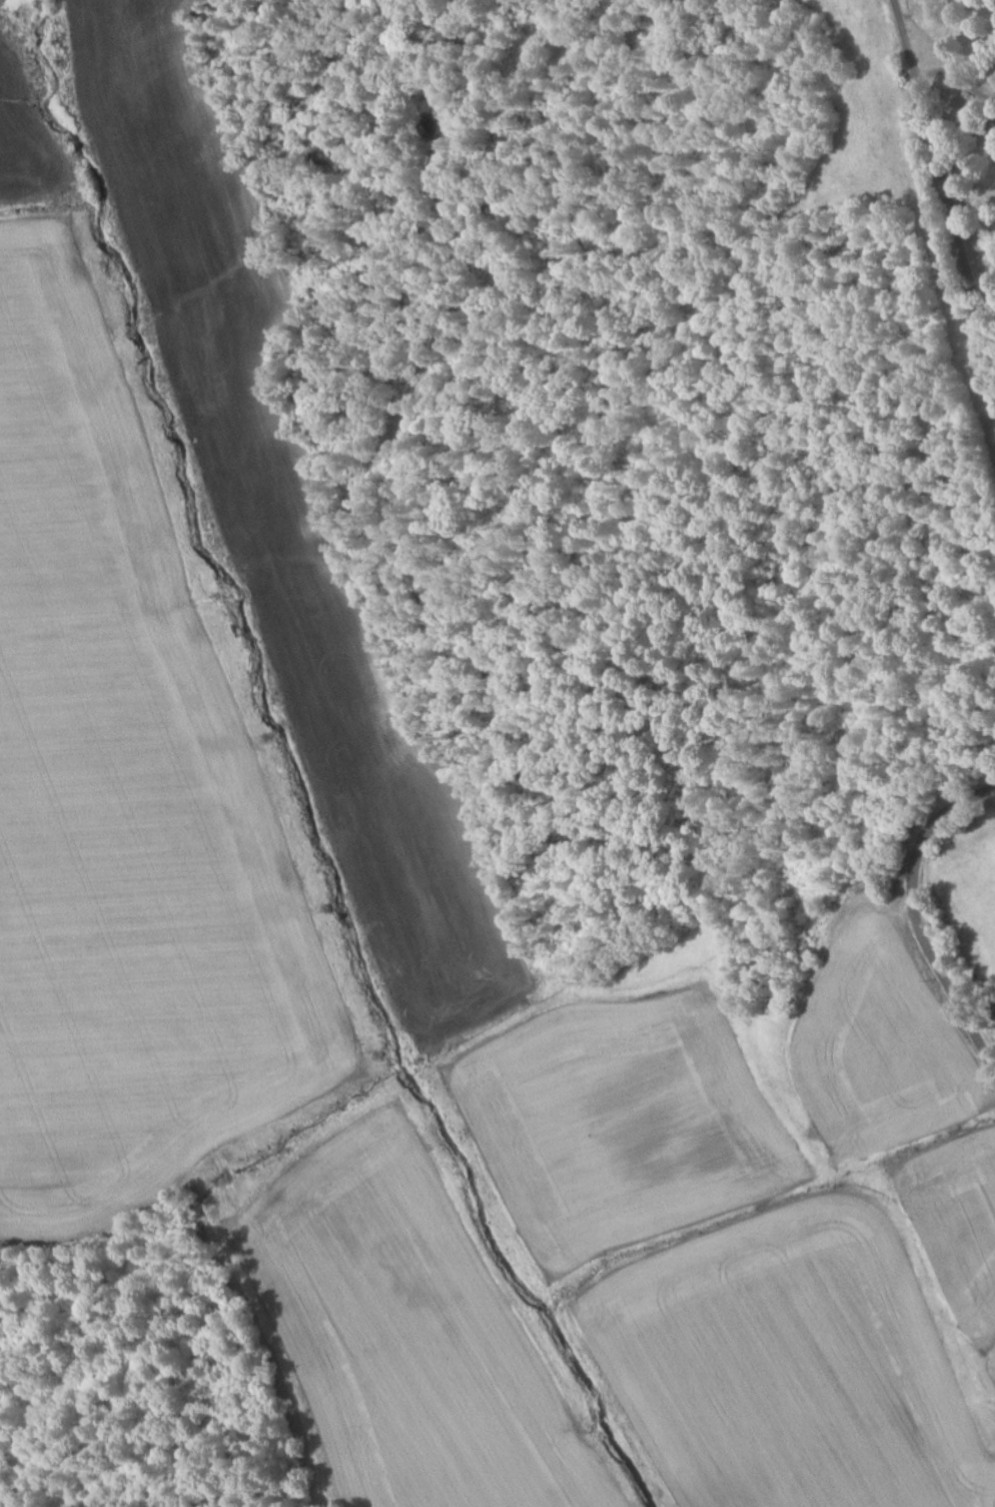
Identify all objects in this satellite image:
road: (476, 38)
road: (959, 79)
road: (943, 177)
road: (920, 920)

